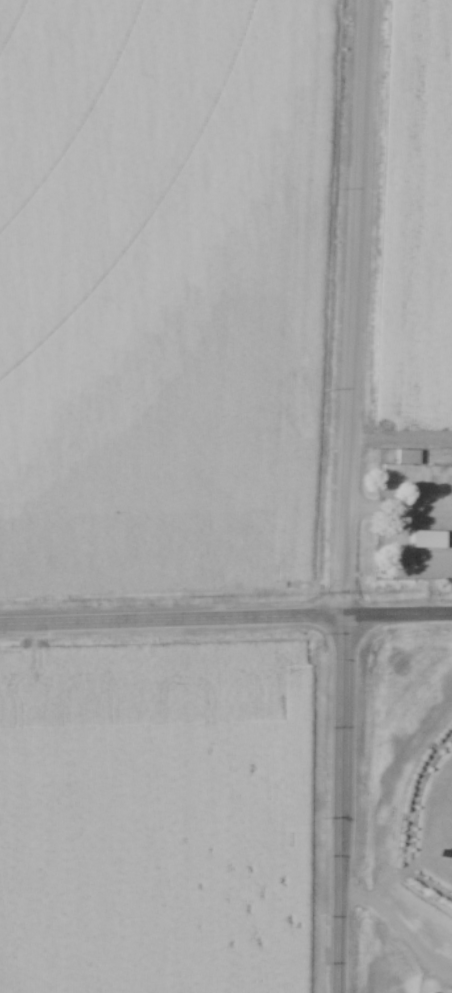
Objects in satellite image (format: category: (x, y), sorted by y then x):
road: (354, 307)
building: (415, 469)
road: (399, 511)
building: (430, 538)
road: (397, 613)
road: (171, 619)
road: (340, 803)
crop: (157, 817)

